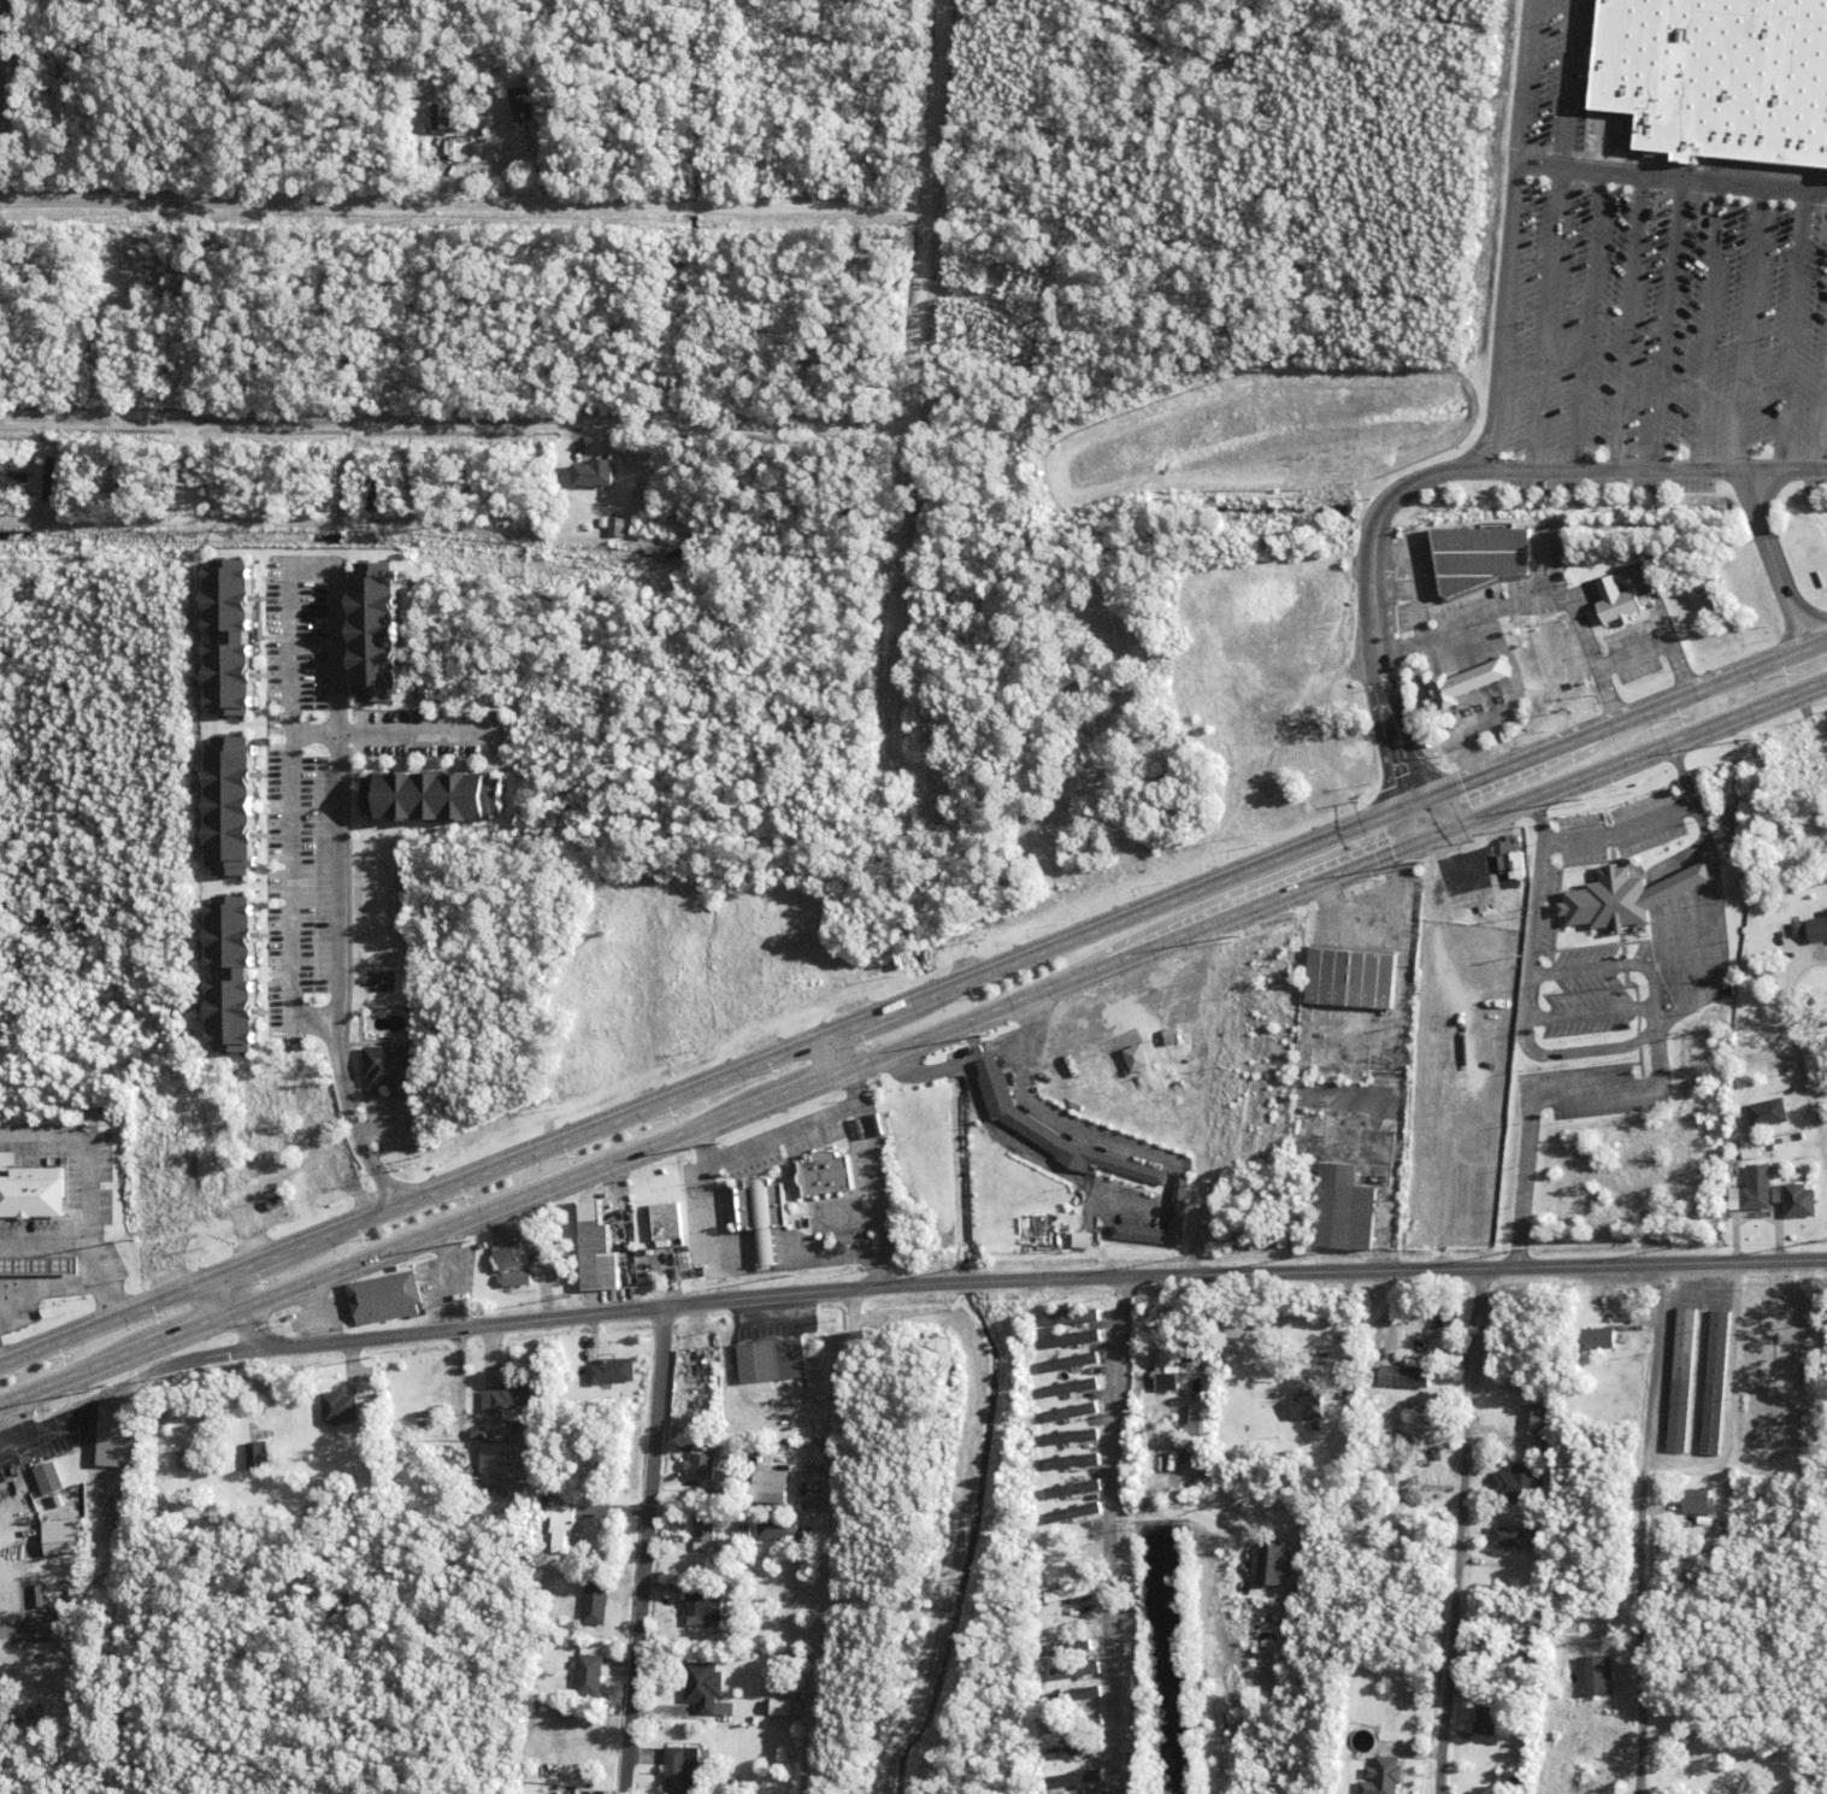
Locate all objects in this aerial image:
road: (7, 73)
building: (455, 78)
building: (1720, 78)
road: (2, 92)
building: (525, 104)
building: (442, 116)
building: (420, 134)
building: (538, 135)
road: (1670, 178)
road: (466, 208)
road: (1508, 236)
building: (157, 239)
building: (130, 249)
road: (1544, 319)
road: (1584, 320)
road: (1626, 323)
road: (1666, 324)
road: (1705, 327)
road: (1746, 328)
road: (1788, 330)
parking lot: (1655, 342)
building: (98, 346)
road: (921, 406)
road: (1821, 406)
road: (460, 425)
building: (566, 471)
road: (1448, 472)
building: (594, 474)
building: (106, 476)
building: (48, 478)
building: (35, 480)
building: (11, 481)
building: (564, 496)
building: (602, 522)
building: (593, 524)
building: (614, 525)
building: (631, 527)
building: (1479, 555)
road: (1774, 558)
building: (1619, 601)
building: (941, 605)
road: (334, 624)
building: (372, 633)
building: (947, 636)
building: (226, 641)
building: (1468, 681)
road: (396, 734)
building: (430, 796)
building: (228, 806)
road: (1419, 824)
building: (1516, 865)
building: (648, 881)
building: (1626, 899)
building: (950, 911)
building: (1826, 913)
building: (1817, 930)
building: (229, 978)
building: (1351, 981)
road: (914, 1004)
building: (175, 1039)
building: (1156, 1049)
road: (914, 1052)
building: (1137, 1060)
road: (827, 1064)
building: (387, 1066)
building: (173, 1075)
building: (1122, 1075)
road: (1814, 1111)
building: (1767, 1113)
building: (279, 1127)
building: (210, 1133)
building: (1053, 1134)
building: (1786, 1141)
building: (243, 1142)
building: (278, 1143)
building: (1770, 1158)
building: (169, 1167)
building: (850, 1170)
building: (824, 1174)
building: (1118, 1188)
building: (323, 1189)
building: (1757, 1190)
building: (31, 1192)
building: (1253, 1195)
building: (1180, 1200)
building: (1799, 1202)
building: (1735, 1204)
building: (278, 1205)
building: (760, 1213)
building: (1346, 1213)
building: (1306, 1218)
building: (666, 1225)
building: (888, 1234)
building: (1083, 1242)
building: (1124, 1249)
building: (597, 1252)
building: (1149, 1254)
building: (517, 1257)
building: (54, 1266)
building: (559, 1275)
building: (518, 1282)
road: (1004, 1286)
building: (387, 1300)
building: (1596, 1316)
building: (1078, 1319)
building: (1626, 1323)
building: (1073, 1340)
building: (1598, 1340)
building: (1762, 1348)
building: (1786, 1349)
building: (531, 1360)
building: (1166, 1360)
building: (772, 1364)
building: (1074, 1365)
building: (572, 1369)
building: (612, 1374)
building: (1404, 1378)
building: (1312, 1382)
building: (1682, 1382)
building: (1716, 1386)
building: (1073, 1389)
building: (1153, 1396)
building: (1175, 1398)
building: (513, 1402)
building: (1309, 1407)
building: (341, 1410)
building: (426, 1416)
building: (1067, 1416)
building: (277, 1418)
building: (1544, 1418)
building: (1195, 1425)
building: (1316, 1429)
building: (490, 1433)
building: (114, 1437)
building: (524, 1439)
building: (1072, 1440)
building: (1546, 1446)
building: (724, 1448)
building: (532, 1452)
building: (259, 1458)
building: (509, 1460)
building: (163, 1461)
building: (187, 1461)
building: (1074, 1465)
building: (701, 1469)
building: (771, 1480)
building: (51, 1481)
building: (514, 1484)
building: (1517, 1487)
building: (1073, 1492)
building: (771, 1498)
building: (114, 1504)
building: (1696, 1504)
building: (690, 1506)
road: (1181, 1512)
building: (1072, 1516)
building: (705, 1528)
building: (562, 1530)
building: (745, 1531)
road: (1674, 1531)
building: (779, 1533)
road: (1468, 1533)
road: (1113, 1536)
building: (1517, 1540)
road: (836, 1543)
building: (1073, 1545)
building: (251, 1547)
road: (652, 1552)
building: (729, 1554)
building: (1268, 1563)
building: (1080, 1566)
building: (1687, 1572)
building: (1530, 1574)
building: (718, 1592)
building: (1078, 1594)
building: (595, 1605)
building: (706, 1610)
building: (1079, 1618)
building: (1084, 1642)
building: (1086, 1670)
building: (589, 1678)
building: (1596, 1678)
building: (705, 1688)
building: (1072, 1694)
building: (1069, 1701)
building: (784, 1704)
building: (1487, 1724)
building: (1073, 1730)
building: (1075, 1753)
building: (685, 1772)
building: (1384, 1778)
building: (1078, 1780)
building: (745, 1789)

